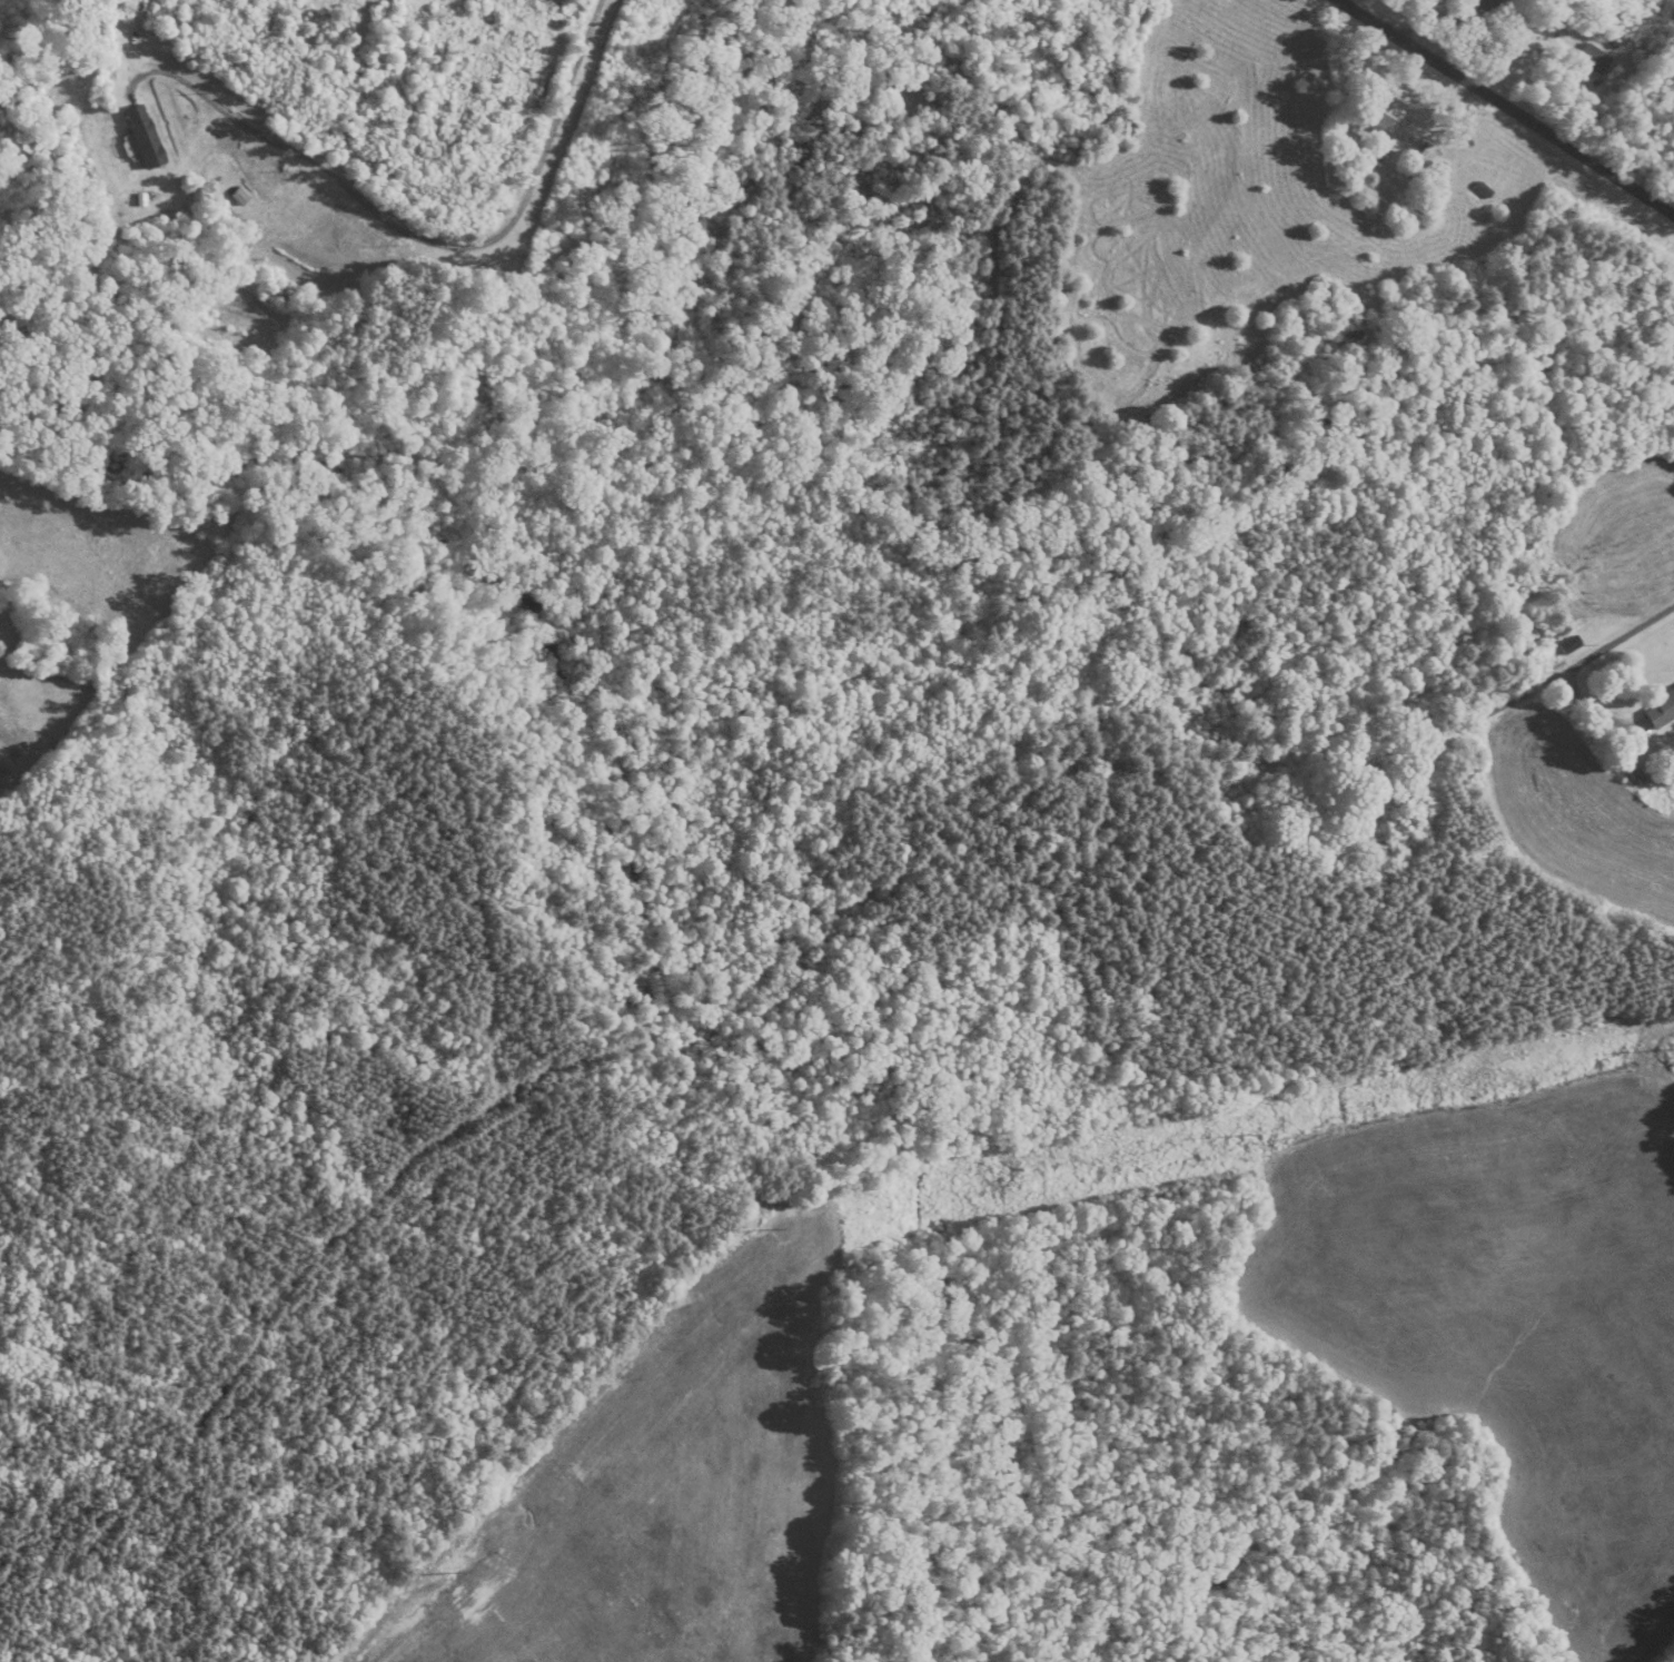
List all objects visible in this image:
building: (1482, 4)
building: (1592, 60)
road: (1510, 101)
building: (1379, 115)
building: (148, 138)
road: (418, 237)
building: (1568, 645)
road: (1532, 691)
building: (1660, 711)
building: (1360, 818)

